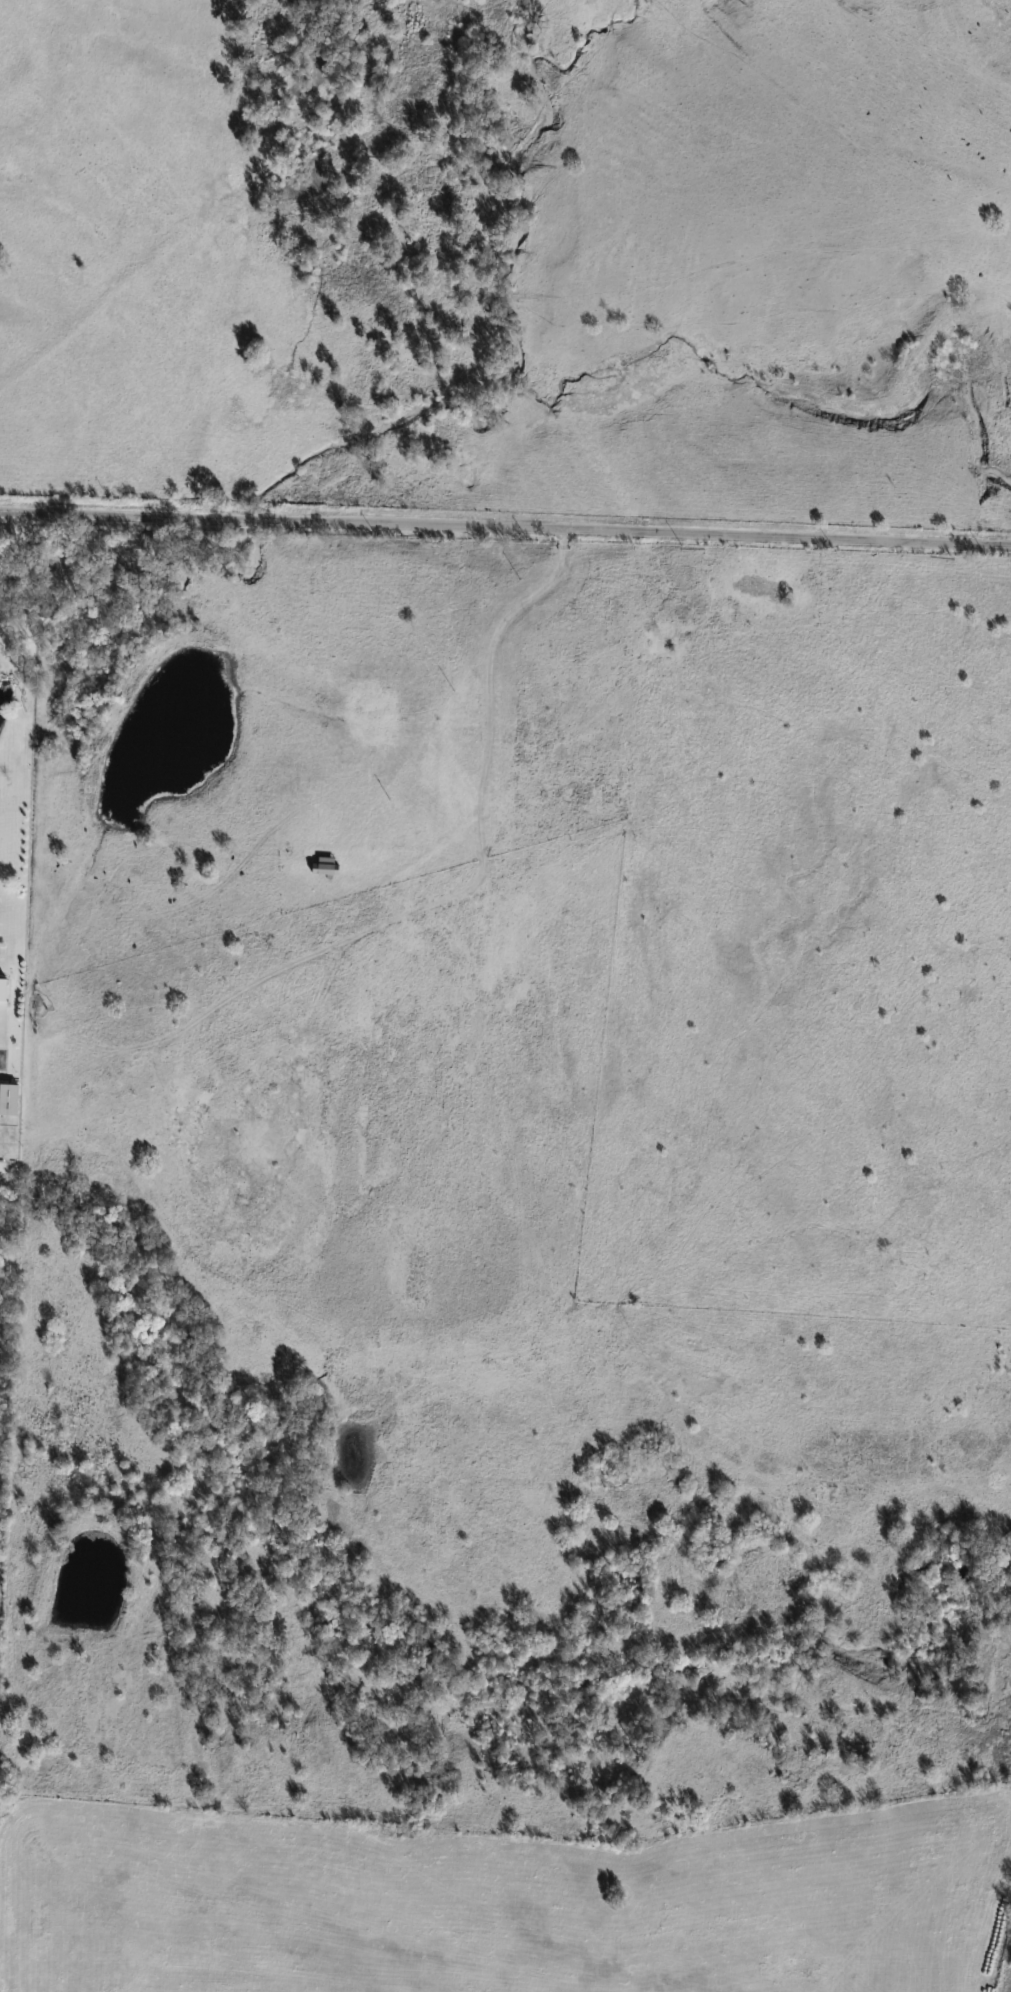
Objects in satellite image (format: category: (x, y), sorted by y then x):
road: (505, 527)
building: (660, 637)
building: (4, 990)
building: (11, 1098)
road: (3, 1140)

